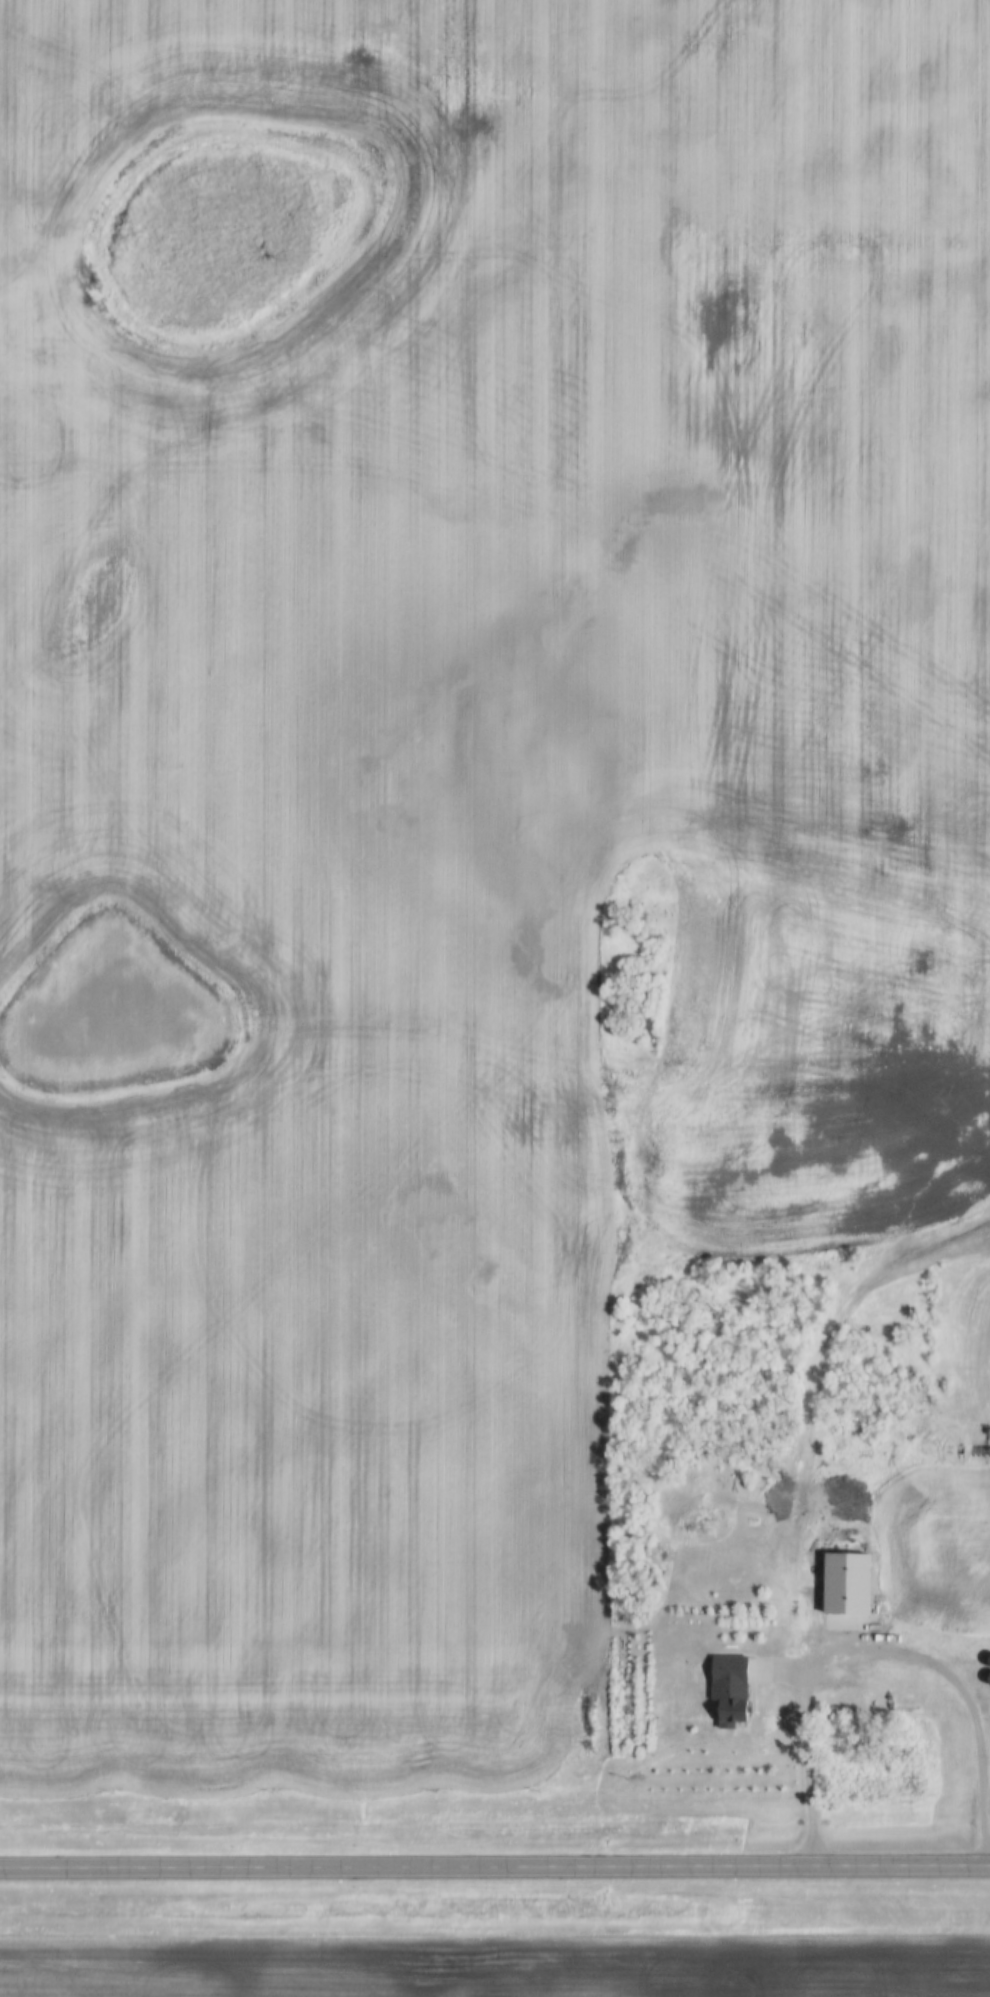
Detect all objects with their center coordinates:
building: (923, 1560)
building: (844, 1583)
building: (987, 1662)
silo: (987, 1662)
building: (987, 1679)
silo: (987, 1679)
road: (841, 1682)
building: (729, 1689)
building: (892, 1704)
road: (192, 1871)
road: (687, 1872)

